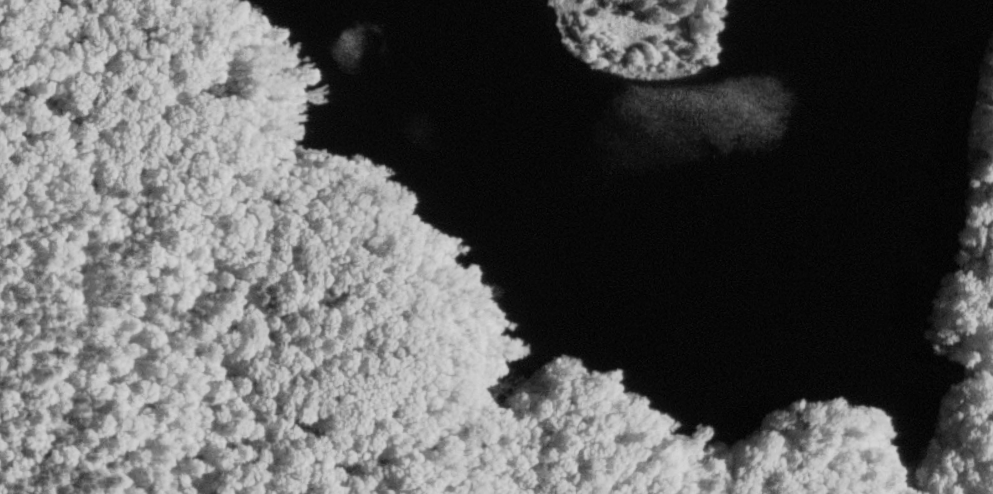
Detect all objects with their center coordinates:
river: (936, 177)
river: (543, 281)

